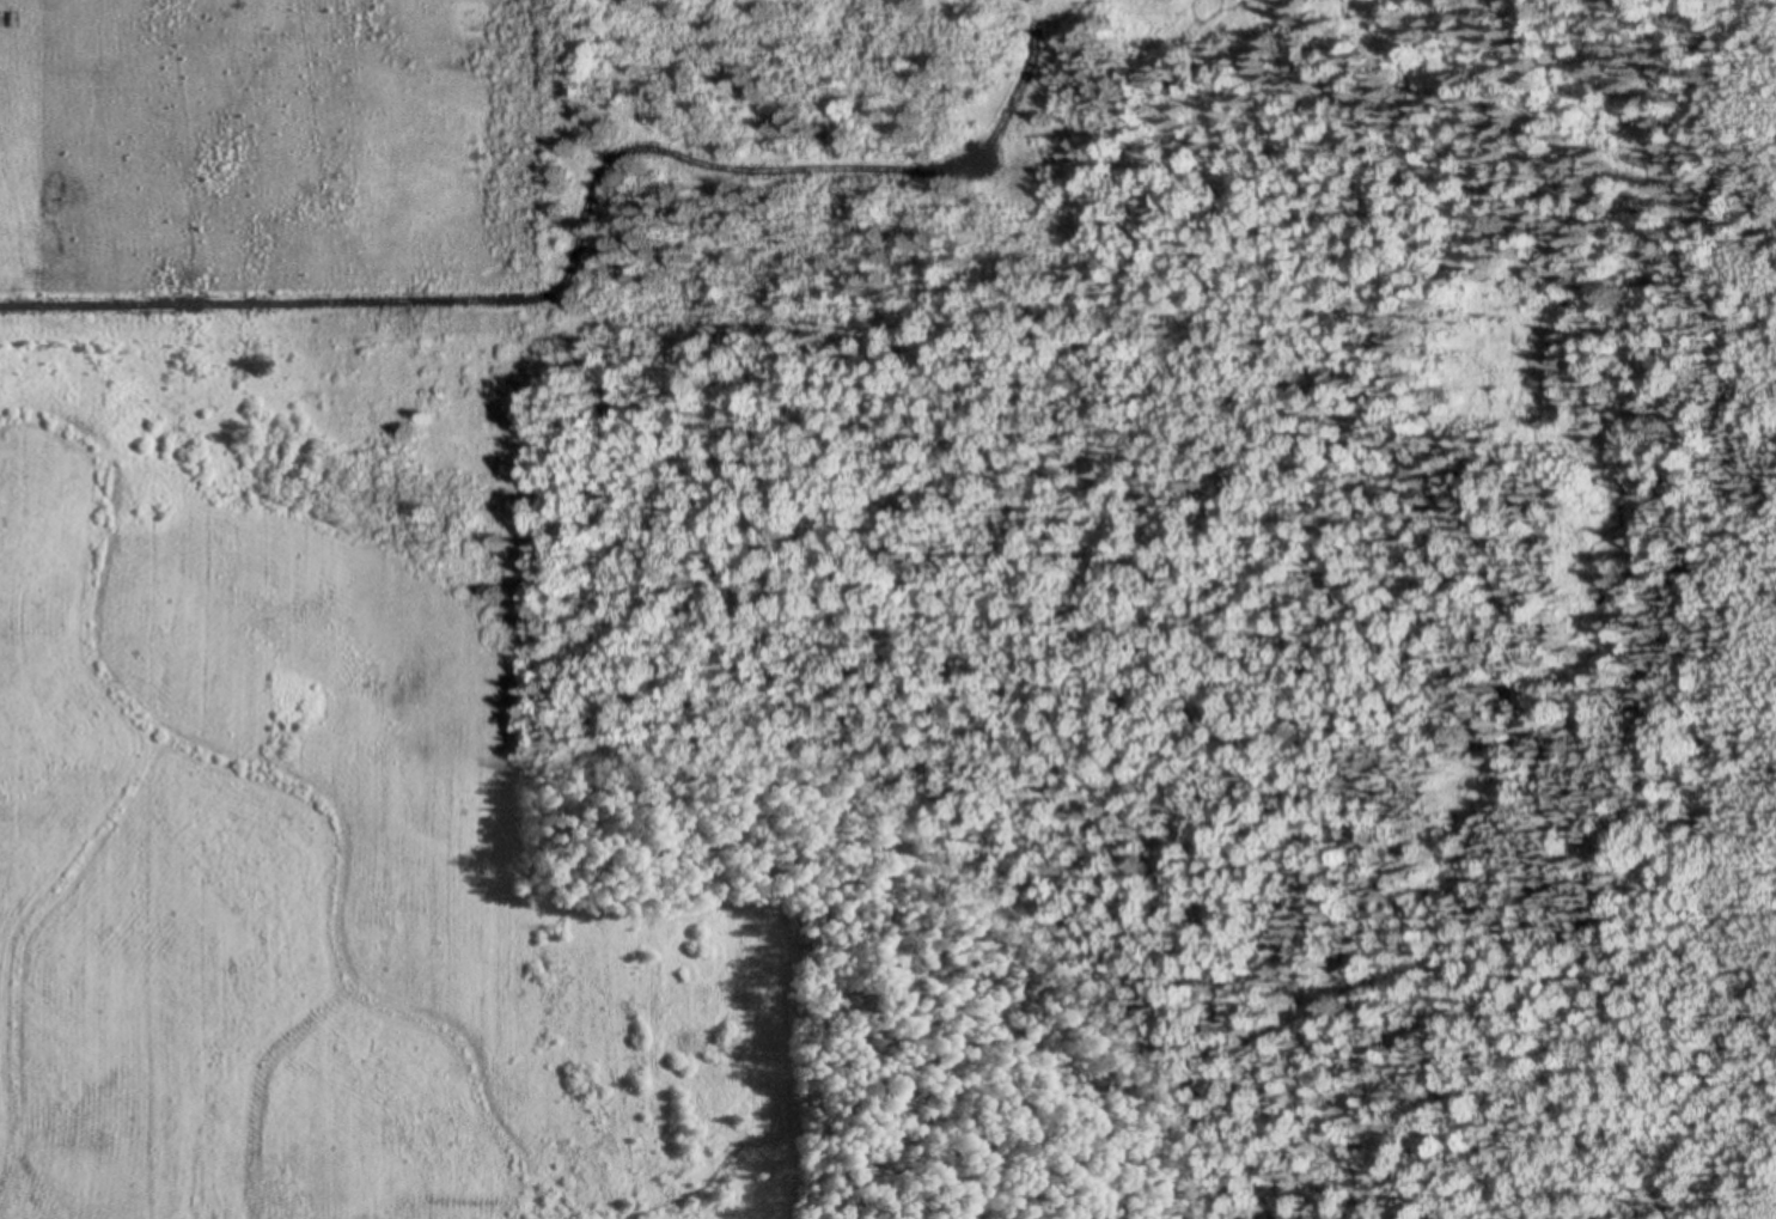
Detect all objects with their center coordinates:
crop: (309, 660)

